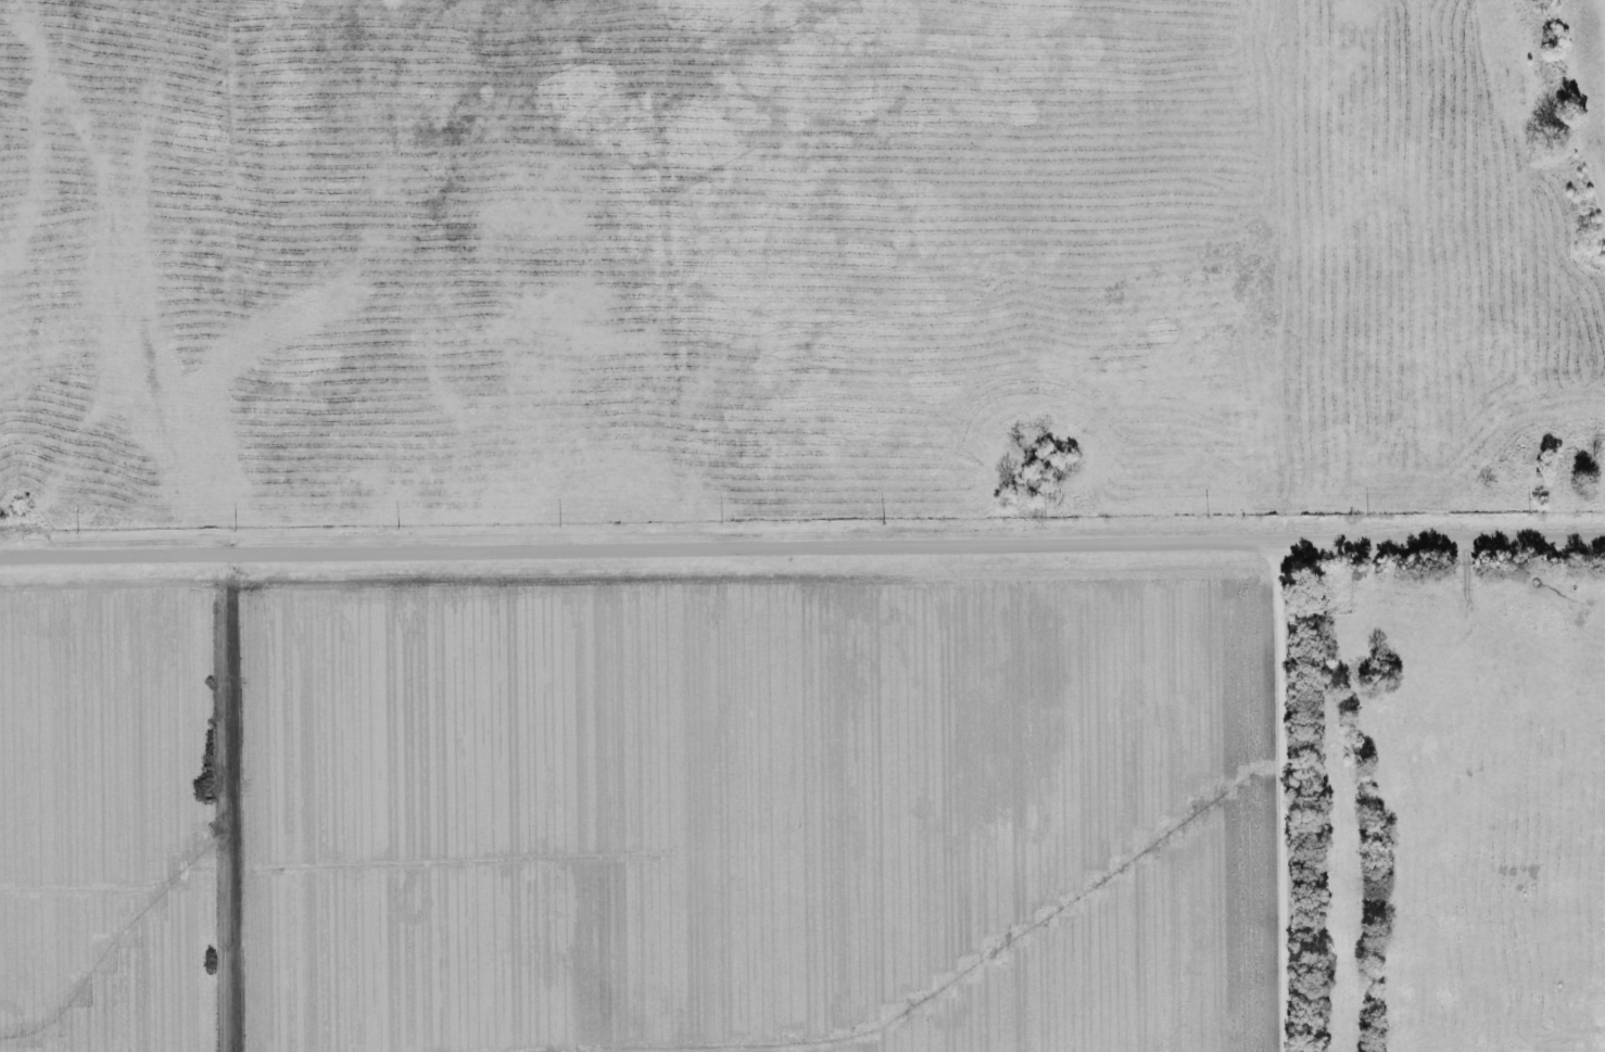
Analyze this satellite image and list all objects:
road: (1280, 525)
road: (801, 545)

